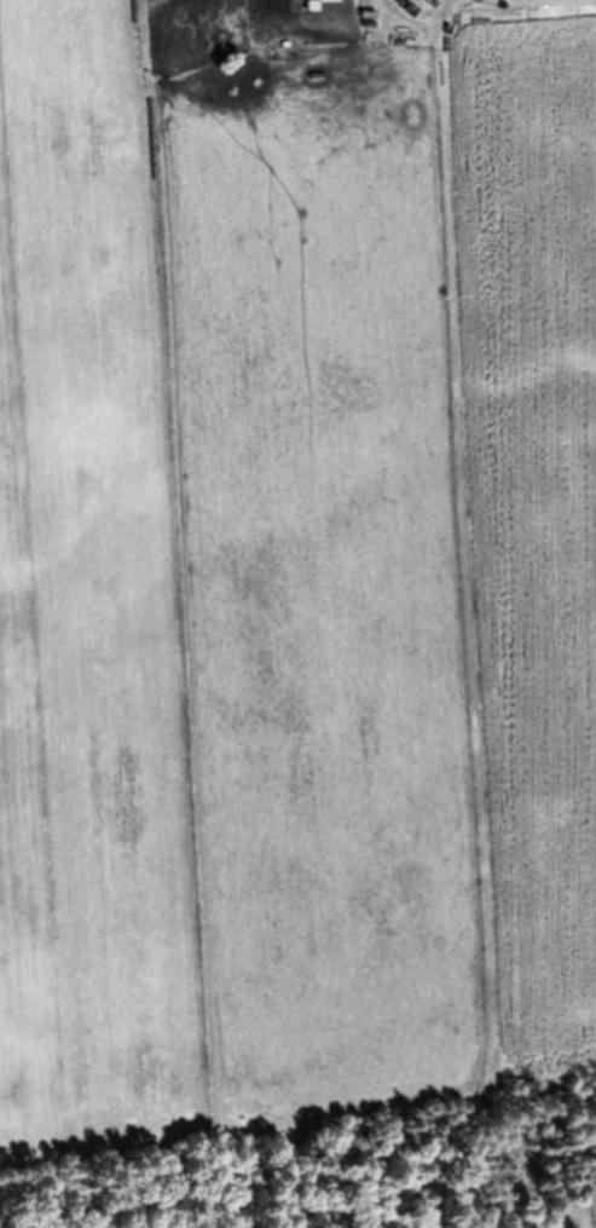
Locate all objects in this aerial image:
crop: (294, 572)

